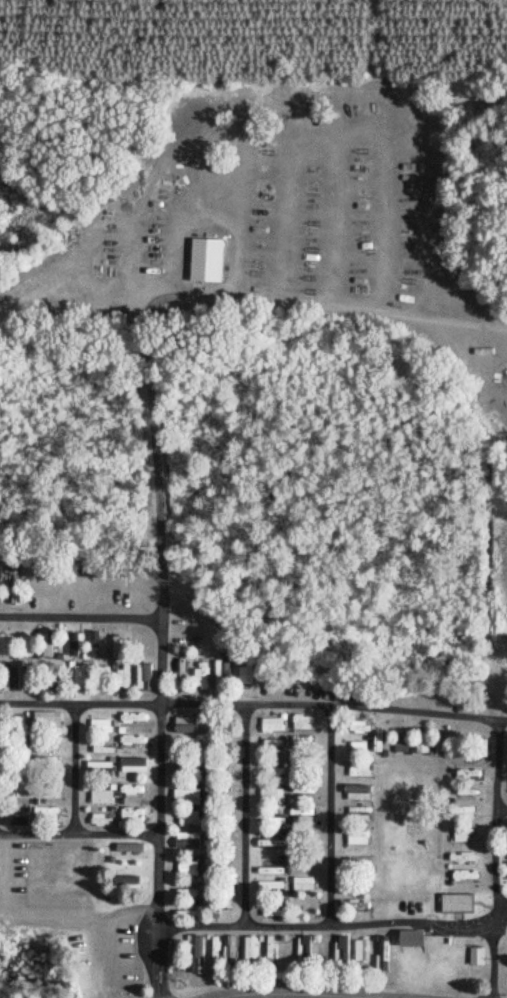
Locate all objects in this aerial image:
building: (202, 261)
road: (87, 541)
road: (79, 614)
road: (332, 623)
building: (25, 646)
building: (220, 671)
building: (180, 672)
building: (143, 676)
building: (122, 677)
road: (91, 686)
building: (304, 722)
building: (272, 724)
building: (132, 725)
building: (355, 728)
building: (399, 743)
building: (421, 743)
building: (188, 745)
building: (439, 745)
building: (478, 748)
building: (360, 752)
road: (78, 755)
building: (45, 765)
building: (357, 769)
building: (464, 775)
building: (126, 791)
building: (357, 792)
building: (44, 793)
building: (462, 794)
building: (99, 796)
road: (157, 805)
building: (44, 813)
building: (461, 814)
building: (128, 815)
building: (185, 819)
building: (358, 836)
building: (506, 838)
building: (186, 840)
building: (269, 842)
building: (125, 849)
building: (186, 868)
building: (506, 869)
building: (120, 881)
building: (303, 884)
building: (453, 904)
building: (404, 940)
building: (211, 950)
building: (380, 954)
building: (194, 955)
building: (359, 955)
road: (273, 993)

